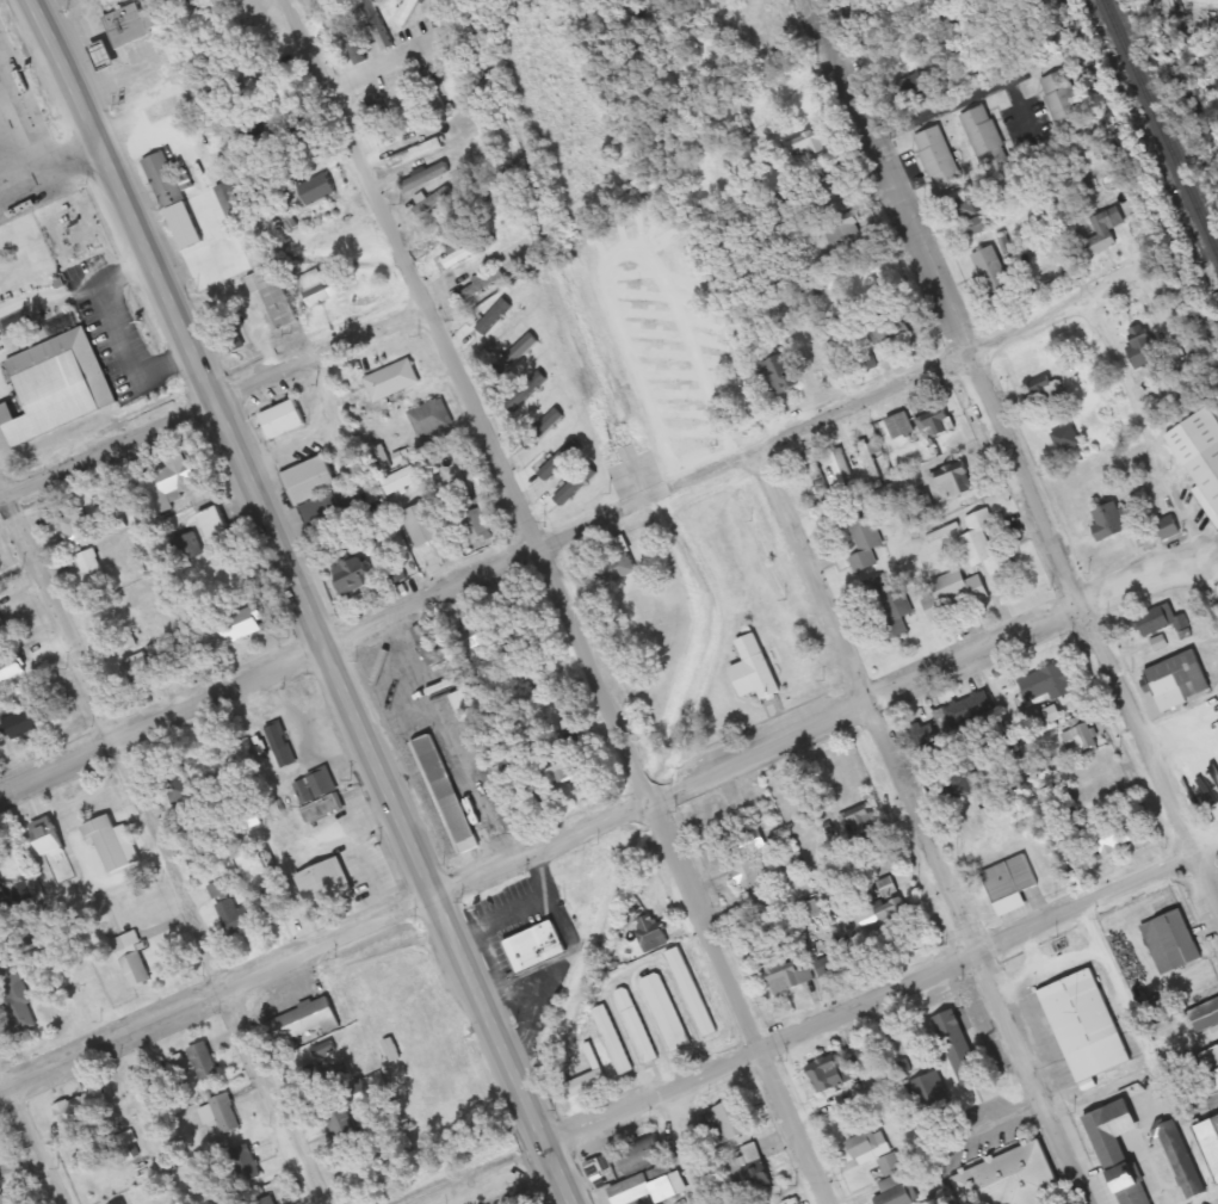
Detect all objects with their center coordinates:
building: (406, 11)
building: (375, 24)
building: (129, 25)
building: (346, 33)
road: (382, 62)
building: (267, 81)
building: (1216, 81)
building: (431, 92)
building: (13, 94)
building: (1061, 104)
building: (406, 107)
building: (160, 111)
building: (378, 119)
railway: (1160, 130)
building: (289, 138)
building: (983, 138)
building: (809, 148)
building: (410, 152)
building: (938, 161)
road: (52, 173)
building: (425, 178)
building: (317, 189)
building: (173, 200)
building: (227, 203)
building: (964, 209)
building: (845, 229)
building: (1102, 231)
building: (465, 252)
building: (993, 272)
building: (317, 295)
building: (276, 297)
building: (497, 313)
building: (230, 339)
building: (1142, 345)
road: (320, 352)
building: (778, 375)
building: (389, 381)
building: (56, 385)
building: (1049, 393)
building: (513, 401)
building: (666, 403)
building: (540, 415)
building: (282, 419)
building: (427, 419)
building: (935, 424)
building: (902, 426)
building: (1066, 439)
building: (690, 440)
road: (109, 445)
road: (1154, 445)
building: (554, 449)
building: (867, 461)
building: (1207, 473)
building: (816, 476)
building: (309, 480)
building: (401, 480)
building: (956, 480)
building: (174, 482)
road: (1014, 483)
building: (923, 501)
building: (1109, 521)
building: (74, 524)
building: (478, 524)
building: (214, 525)
building: (422, 525)
building: (1169, 527)
building: (860, 538)
building: (985, 544)
building: (190, 548)
road: (545, 549)
building: (89, 568)
building: (614, 569)
building: (354, 575)
building: (953, 593)
road: (307, 599)
road: (551, 601)
building: (889, 606)
building: (1158, 619)
building: (243, 624)
building: (470, 638)
building: (12, 668)
building: (138, 669)
building: (753, 669)
building: (1180, 680)
building: (1051, 684)
building: (969, 712)
building: (474, 723)
building: (1080, 740)
building: (282, 746)
building: (562, 767)
building: (319, 795)
building: (450, 795)
building: (507, 798)
road: (602, 825)
road: (923, 829)
road: (163, 835)
building: (1114, 838)
building: (347, 858)
building: (748, 875)
building: (1010, 878)
building: (890, 889)
building: (313, 891)
building: (271, 906)
building: (894, 914)
building: (233, 918)
building: (651, 931)
building: (1171, 941)
building: (536, 946)
building: (134, 962)
building: (787, 973)
building: (691, 992)
building: (16, 995)
road: (886, 1006)
building: (666, 1012)
building: (1205, 1017)
building: (302, 1021)
building: (636, 1026)
building: (1084, 1029)
building: (612, 1041)
building: (960, 1048)
building: (202, 1061)
building: (589, 1062)
building: (830, 1073)
building: (324, 1075)
building: (1195, 1080)
building: (930, 1095)
building: (80, 1107)
building: (224, 1113)
building: (727, 1123)
building: (1150, 1124)
road: (31, 1134)
building: (1211, 1138)
building: (868, 1146)
building: (643, 1153)
building: (1117, 1160)
building: (245, 1165)
building: (600, 1166)
building: (752, 1171)
building: (1013, 1179)
building: (896, 1180)
building: (1191, 1183)
building: (644, 1190)
building: (5, 1199)
building: (260, 1203)

